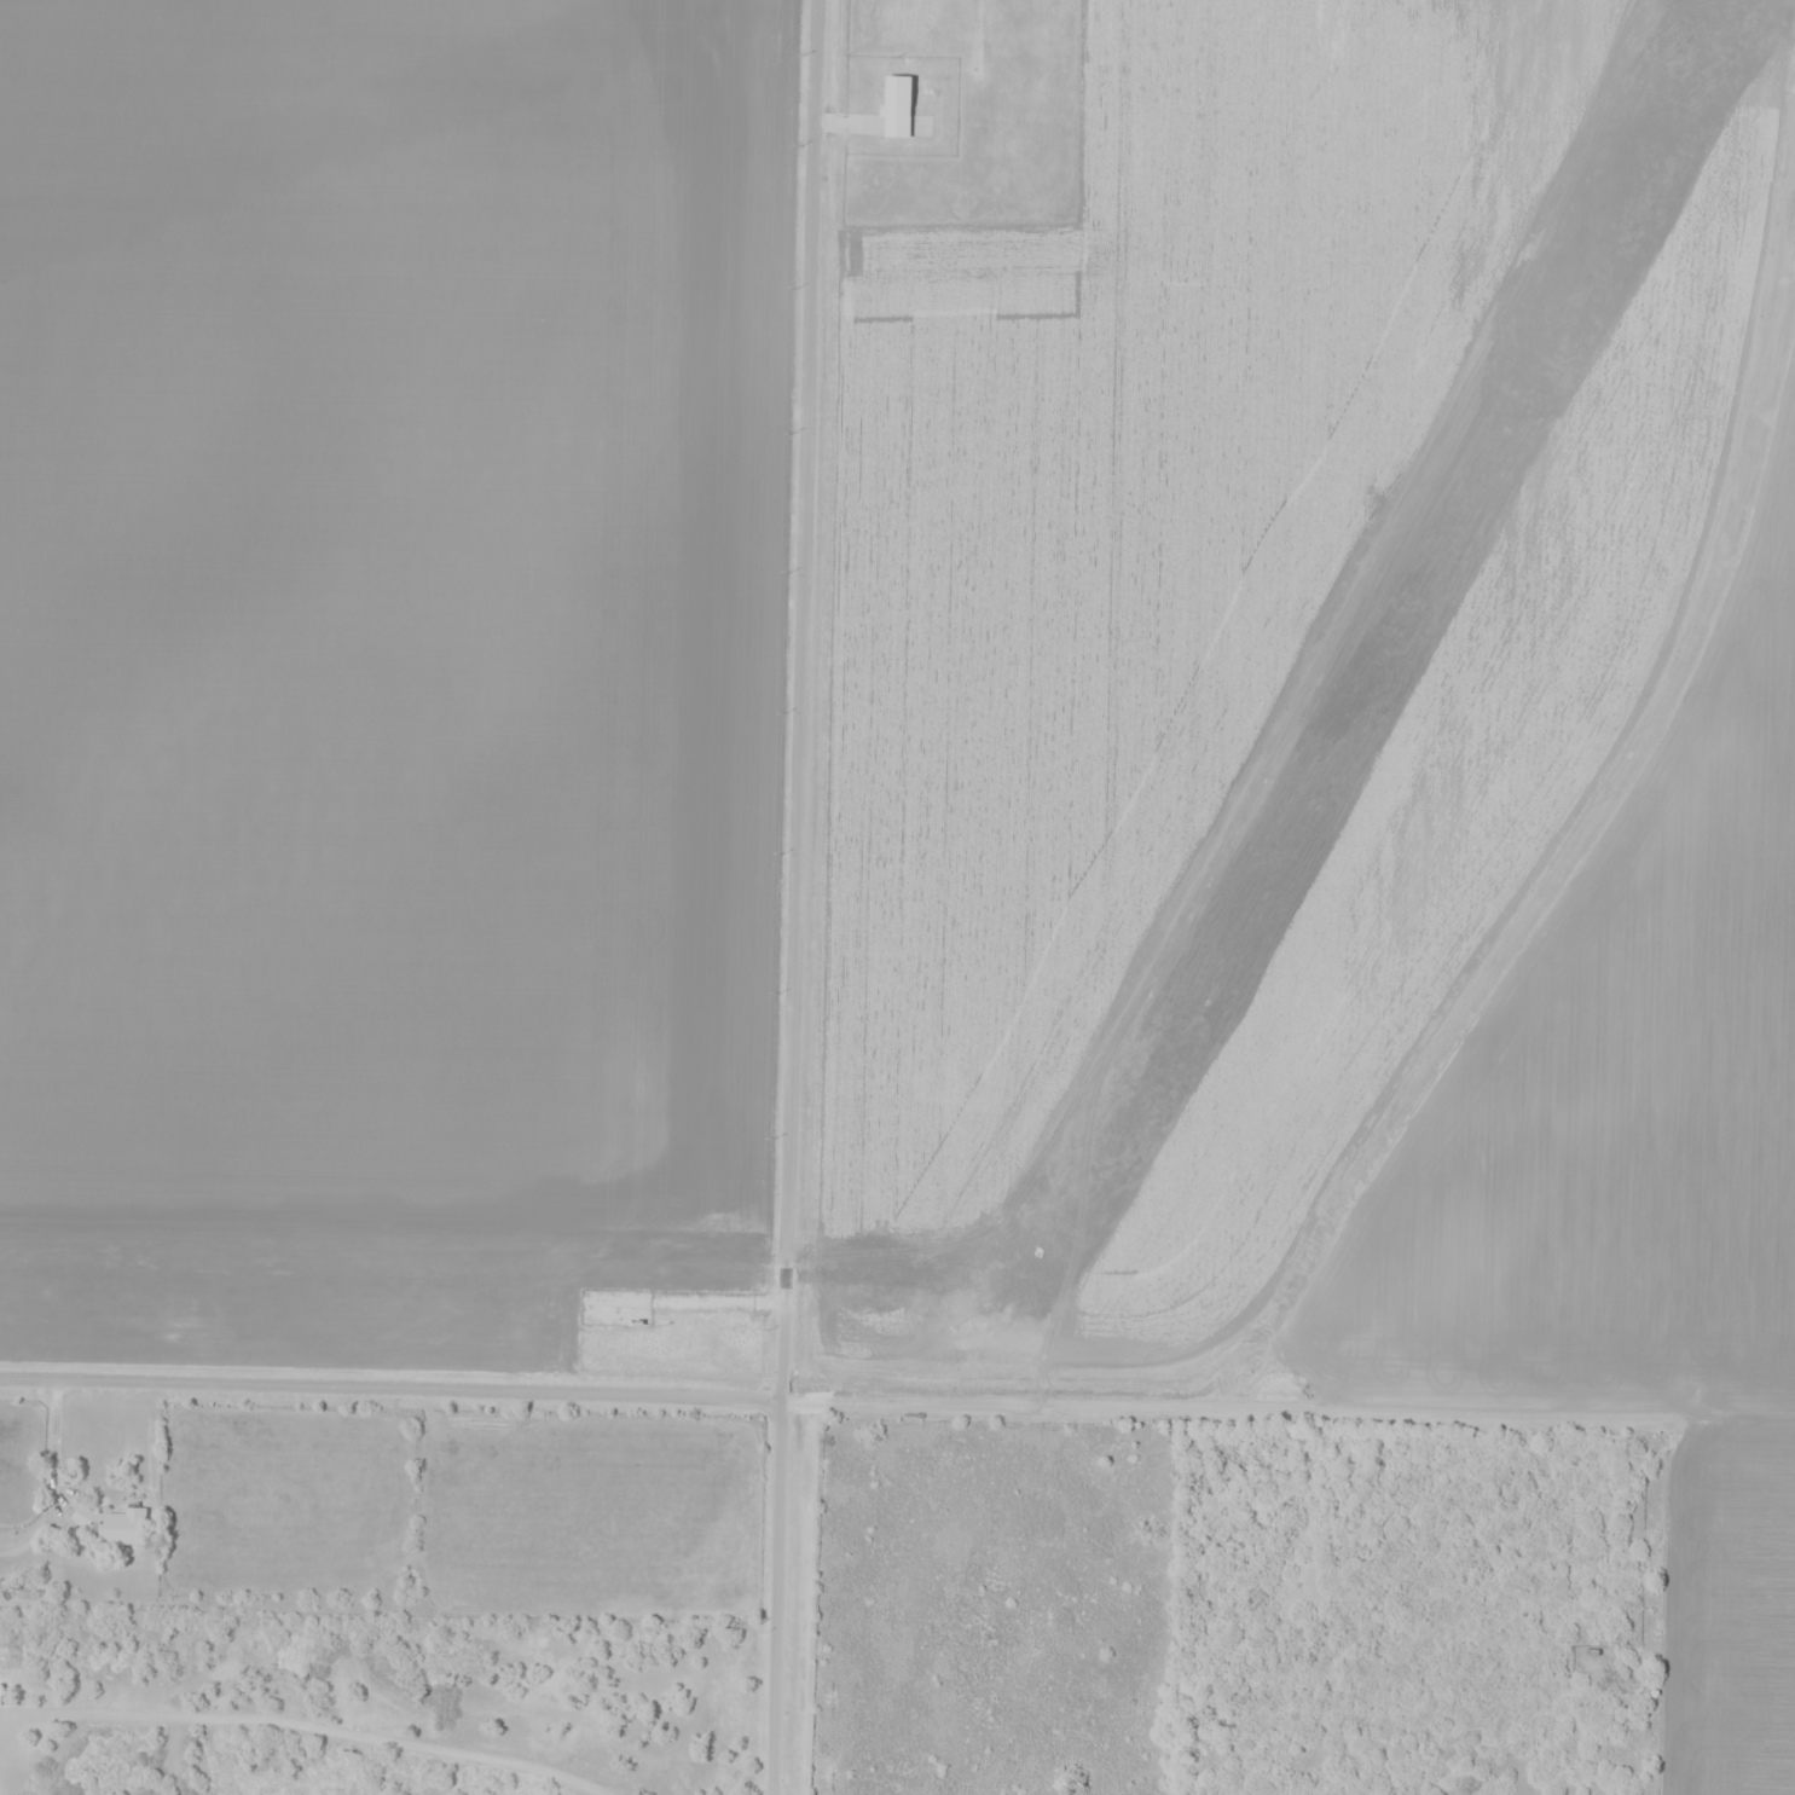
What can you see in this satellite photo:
building: (901, 110)
road: (795, 897)
road: (717, 1304)
road: (392, 1390)
building: (120, 1527)
building: (1633, 1692)

